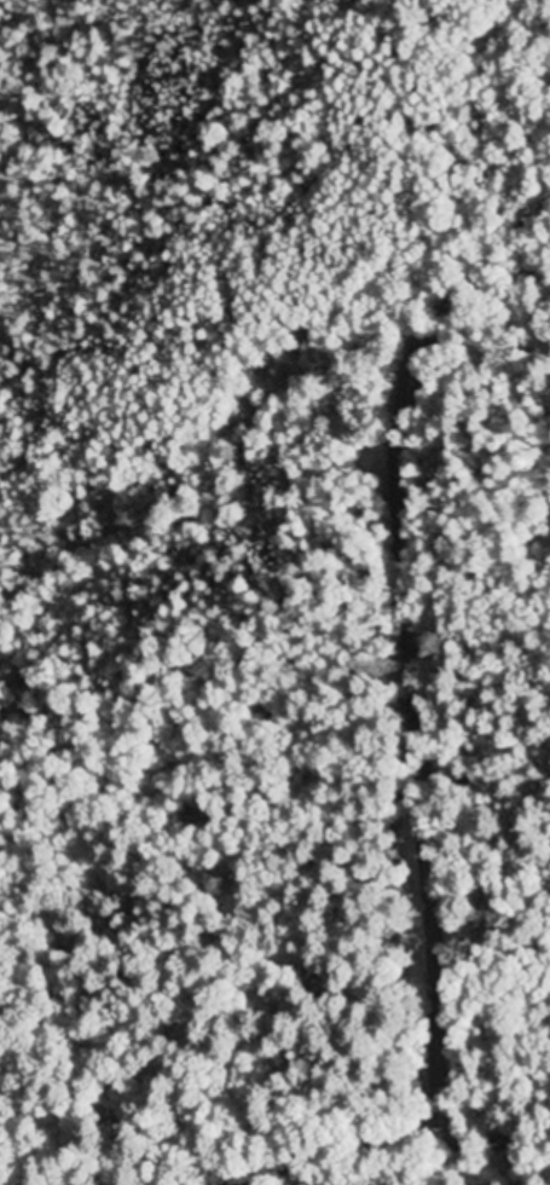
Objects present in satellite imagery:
road: (423, 608)
road: (393, 1144)

